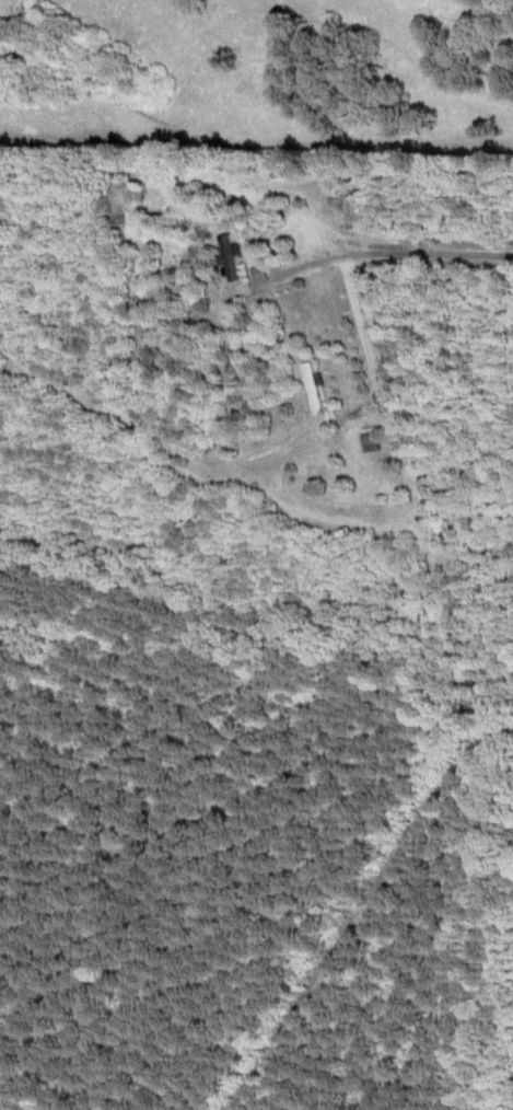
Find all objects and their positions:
road: (428, 253)
building: (234, 256)
road: (314, 264)
building: (264, 270)
road: (366, 343)
building: (375, 438)

